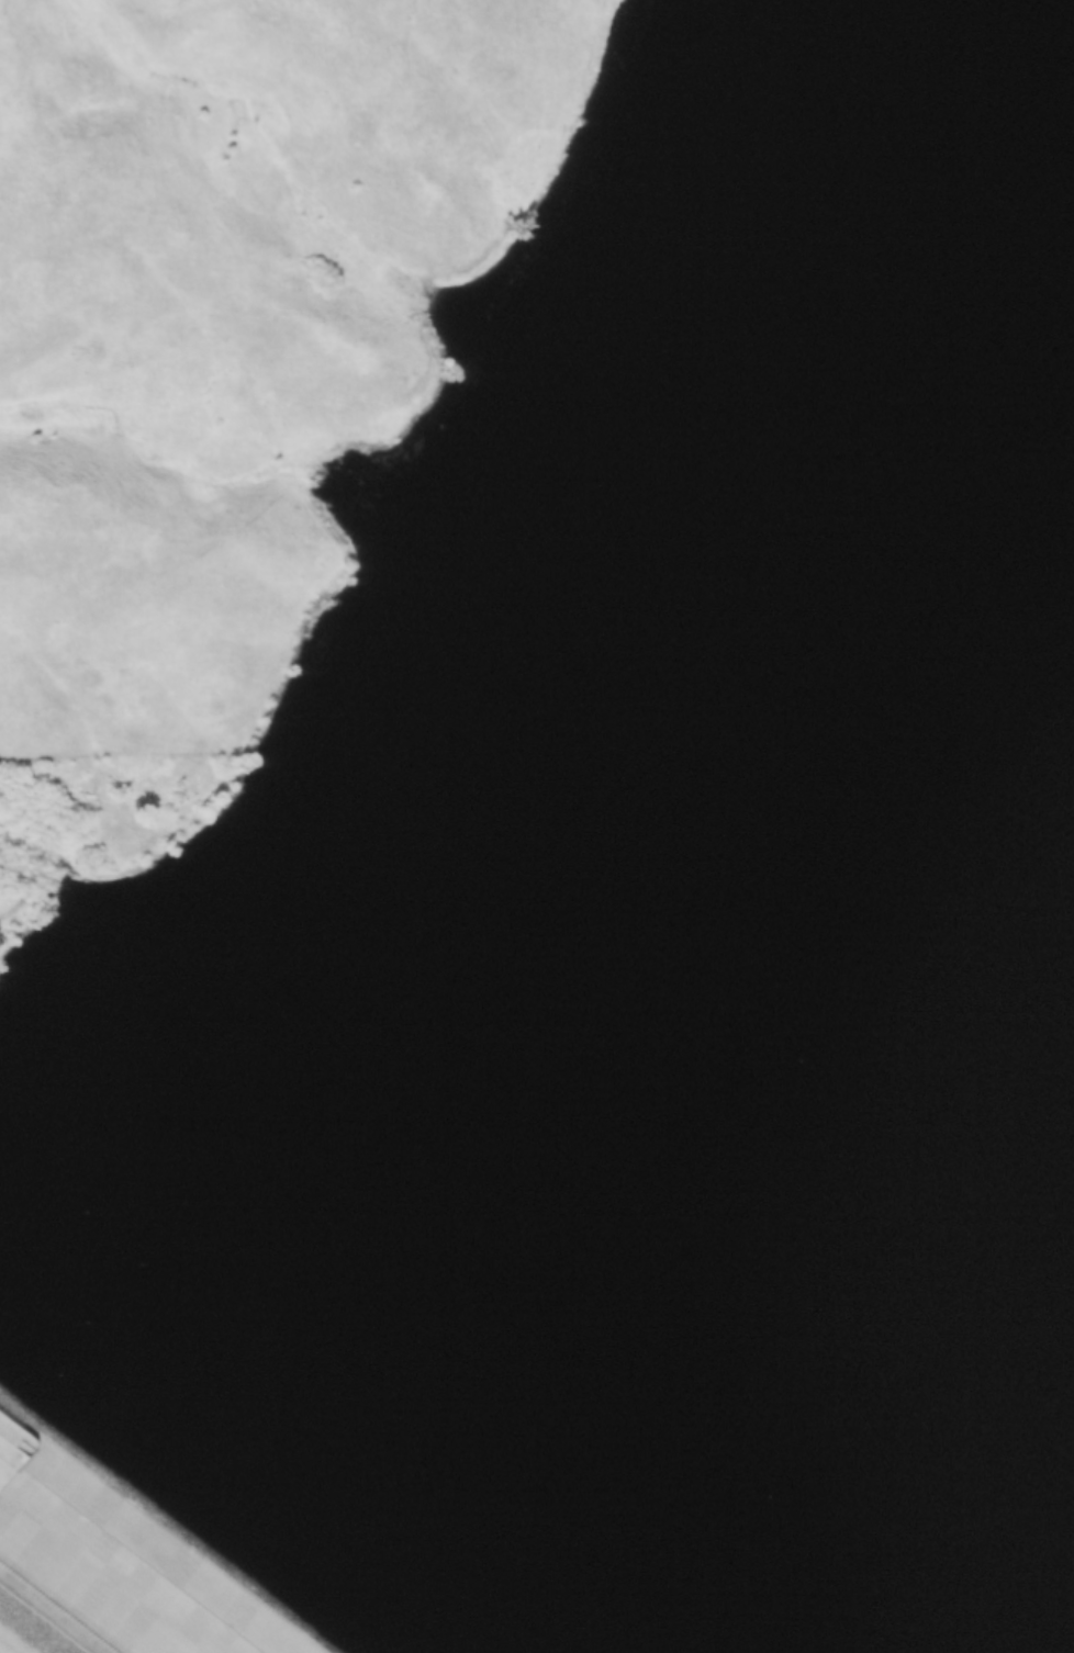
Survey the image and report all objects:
road: (461, 266)
road: (266, 469)
road: (234, 730)
river: (537, 734)
dam: (112, 1567)

